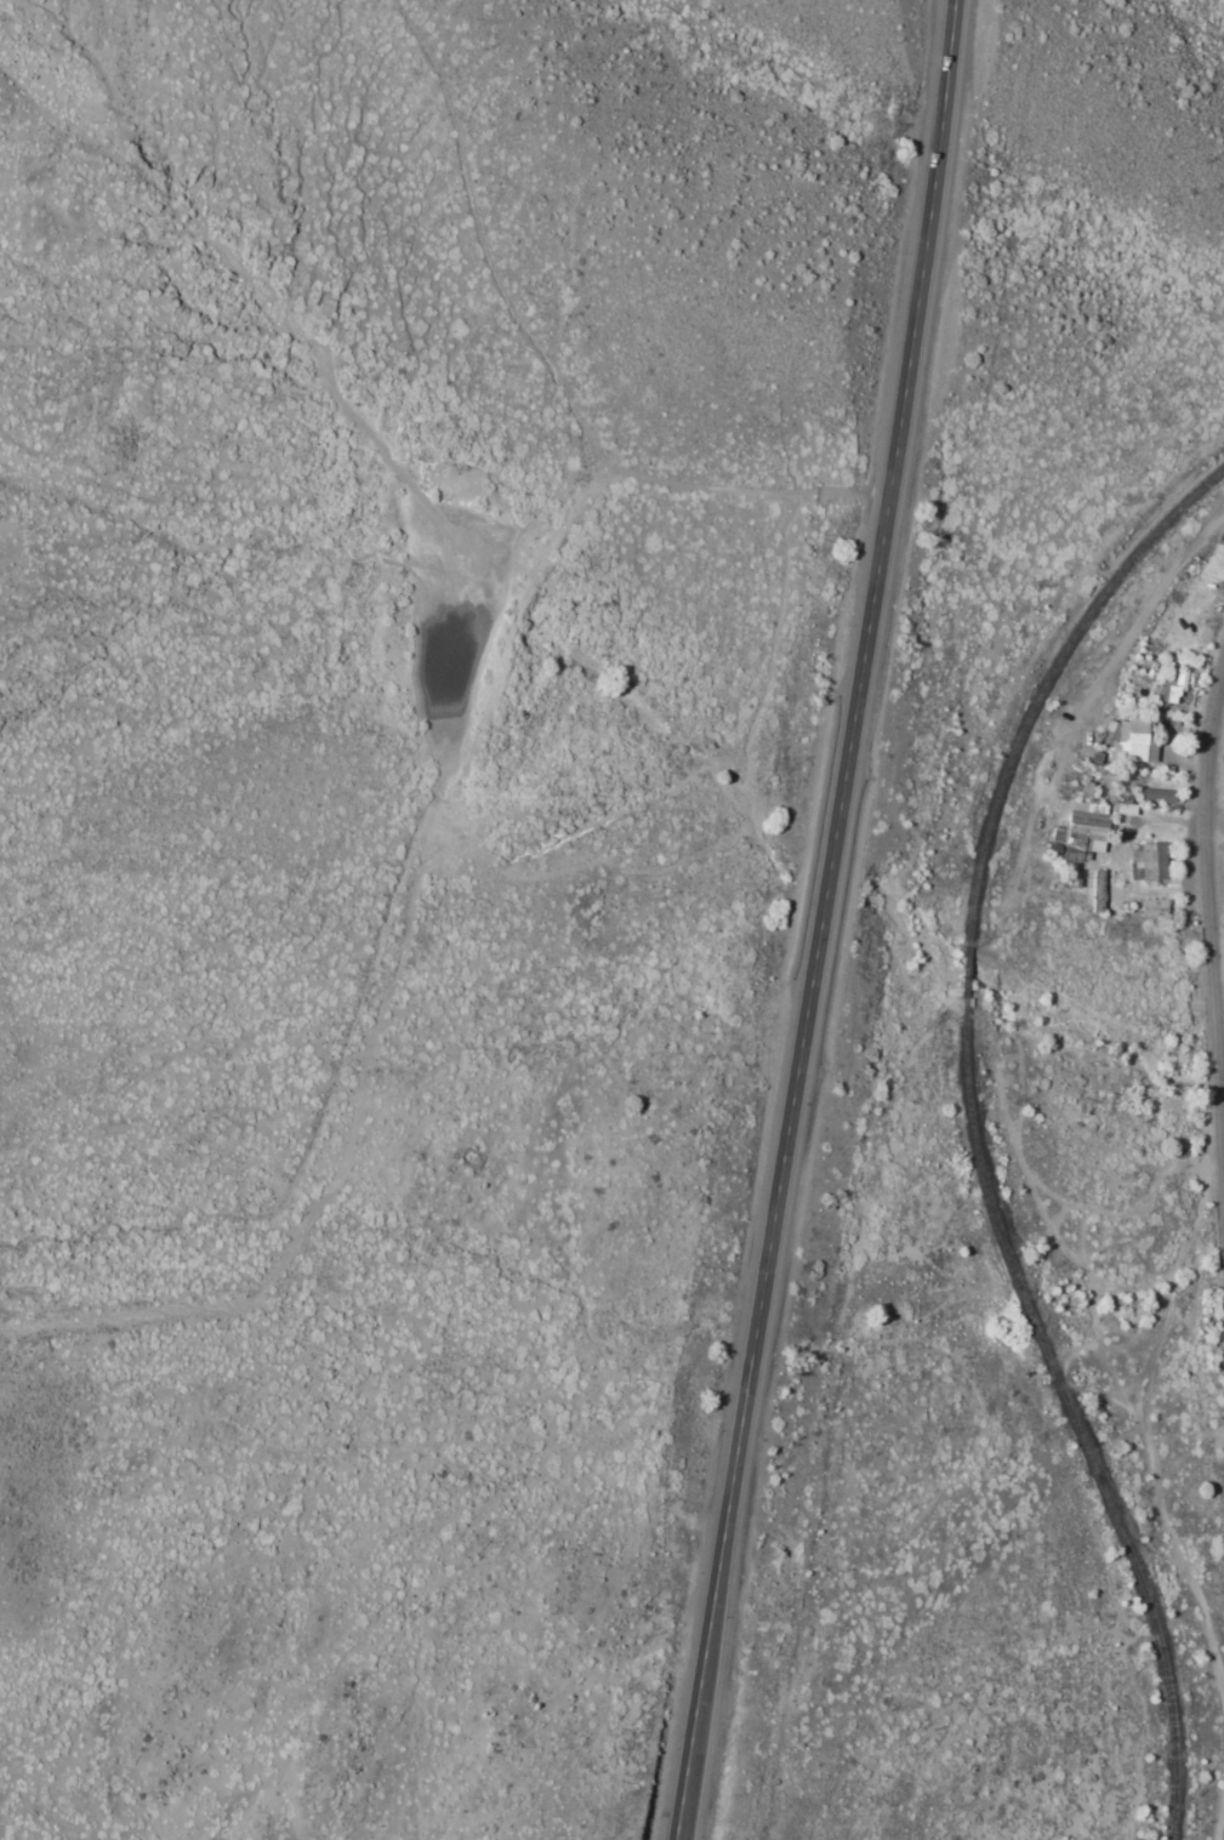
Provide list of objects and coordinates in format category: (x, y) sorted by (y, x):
railway: (1048, 682)
building: (1169, 687)
building: (1131, 742)
building: (1155, 794)
building: (1125, 809)
building: (1081, 831)
road: (1213, 861)
building: (1144, 862)
road: (1219, 866)
building: (1151, 907)
road: (821, 921)
railway: (966, 970)
railway: (1074, 1418)

